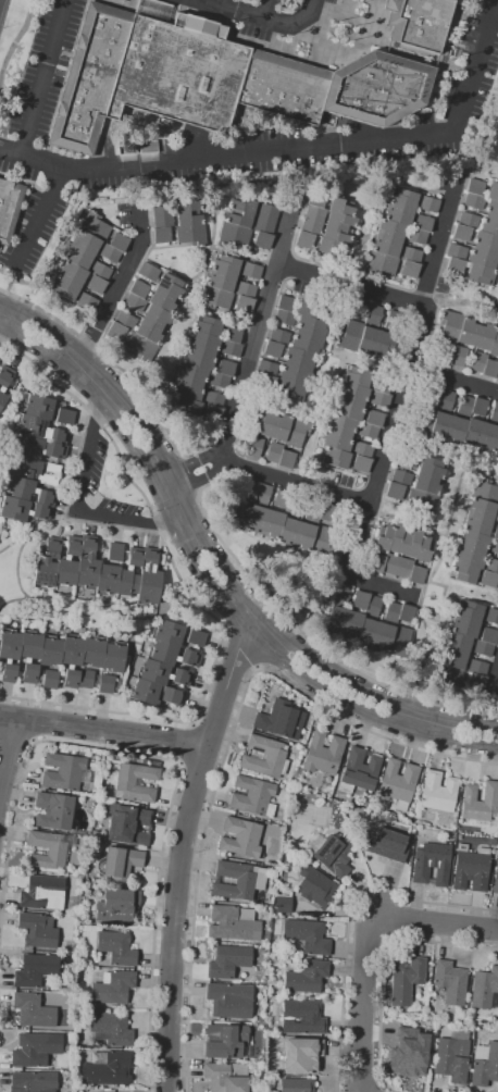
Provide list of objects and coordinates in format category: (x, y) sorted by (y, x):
road: (223, 3)
road: (266, 10)
parking lot: (262, 13)
road: (264, 20)
building: (419, 22)
road: (17, 41)
parking lot: (47, 70)
road: (46, 77)
building: (213, 77)
road: (294, 148)
road: (477, 172)
building: (475, 187)
building: (493, 191)
building: (315, 198)
building: (402, 198)
building: (474, 201)
building: (242, 204)
building: (428, 204)
building: (186, 206)
building: (340, 207)
building: (9, 209)
building: (491, 209)
building: (162, 213)
building: (398, 214)
road: (40, 216)
building: (189, 218)
building: (238, 219)
building: (265, 220)
building: (468, 220)
building: (312, 221)
building: (340, 221)
building: (423, 223)
building: (489, 225)
building: (94, 227)
building: (390, 229)
building: (461, 233)
building: (234, 234)
building: (336, 234)
building: (161, 235)
building: (191, 235)
building: (416, 236)
building: (262, 240)
building: (304, 240)
building: (486, 241)
building: (87, 243)
building: (119, 243)
building: (328, 246)
building: (386, 246)
building: (456, 251)
building: (110, 253)
building: (410, 255)
building: (78, 258)
building: (483, 258)
building: (381, 263)
building: (225, 264)
building: (455, 265)
building: (410, 270)
building: (100, 271)
building: (251, 271)
building: (148, 272)
building: (73, 273)
building: (480, 274)
building: (221, 281)
road: (9, 284)
building: (96, 284)
road: (348, 285)
building: (171, 286)
building: (64, 288)
road: (116, 288)
building: (139, 289)
building: (246, 289)
building: (215, 298)
building: (162, 300)
building: (86, 302)
building: (135, 302)
road: (459, 302)
building: (244, 303)
building: (286, 303)
building: (361, 308)
building: (311, 310)
building: (373, 315)
building: (157, 317)
building: (125, 321)
building: (393, 321)
building: (301, 323)
building: (207, 325)
building: (450, 325)
building: (149, 331)
building: (115, 332)
road: (257, 332)
building: (468, 332)
building: (233, 334)
building: (278, 336)
building: (349, 336)
building: (483, 336)
building: (368, 340)
building: (203, 343)
building: (307, 343)
building: (383, 345)
building: (494, 345)
building: (141, 347)
building: (231, 348)
building: (289, 355)
building: (445, 355)
building: (459, 356)
building: (199, 359)
building: (477, 361)
building: (225, 368)
building: (266, 369)
building: (489, 369)
road: (117, 374)
building: (191, 374)
building: (295, 374)
building: (356, 376)
building: (219, 380)
road: (455, 381)
building: (4, 382)
building: (265, 382)
building: (381, 386)
building: (187, 390)
building: (290, 392)
building: (352, 393)
building: (434, 394)
building: (213, 399)
building: (379, 399)
building: (446, 399)
building: (465, 406)
building: (38, 407)
building: (478, 407)
building: (188, 408)
building: (348, 409)
road: (397, 411)
building: (495, 412)
building: (212, 413)
building: (64, 415)
building: (374, 418)
building: (421, 420)
building: (263, 422)
building: (340, 424)
building: (440, 426)
building: (279, 427)
building: (39, 430)
building: (368, 431)
building: (457, 431)
building: (296, 432)
building: (473, 432)
building: (489, 437)
building: (336, 440)
building: (254, 446)
building: (38, 449)
building: (496, 449)
building: (361, 450)
building: (273, 452)
building: (335, 458)
building: (286, 459)
building: (407, 459)
building: (361, 464)
building: (432, 468)
building: (34, 471)
road: (261, 473)
road: (190, 475)
building: (401, 477)
building: (427, 484)
building: (30, 491)
building: (395, 491)
building: (485, 491)
building: (248, 493)
building: (262, 494)
building: (281, 499)
building: (422, 501)
road: (77, 504)
building: (292, 508)
building: (482, 509)
building: (22, 510)
building: (312, 512)
building: (327, 512)
building: (497, 517)
building: (239, 518)
building: (257, 520)
road: (408, 521)
building: (272, 524)
building: (477, 524)
building: (1, 526)
building: (288, 532)
building: (496, 533)
building: (304, 536)
building: (383, 537)
building: (398, 538)
building: (474, 542)
building: (321, 543)
building: (411, 543)
building: (495, 546)
building: (423, 549)
road: (215, 556)
building: (469, 557)
building: (67, 562)
building: (47, 563)
building: (88, 563)
building: (376, 563)
building: (397, 566)
building: (491, 566)
building: (109, 569)
building: (129, 573)
building: (464, 573)
building: (416, 574)
road: (429, 576)
building: (148, 579)
building: (488, 579)
road: (208, 585)
road: (301, 594)
building: (341, 594)
building: (360, 600)
road: (197, 604)
building: (373, 607)
road: (247, 609)
building: (469, 611)
building: (391, 612)
building: (406, 613)
building: (491, 616)
building: (335, 620)
building: (351, 624)
building: (464, 628)
building: (167, 632)
building: (366, 632)
building: (383, 636)
building: (489, 636)
building: (196, 638)
building: (399, 641)
road: (311, 642)
building: (458, 642)
building: (482, 648)
building: (50, 652)
building: (92, 652)
building: (9, 654)
building: (29, 655)
building: (172, 655)
building: (113, 657)
building: (452, 659)
building: (71, 660)
road: (260, 663)
building: (477, 668)
building: (162, 674)
building: (446, 677)
building: (49, 679)
building: (88, 679)
building: (476, 682)
road: (495, 682)
building: (108, 684)
building: (145, 692)
building: (172, 696)
road: (0, 697)
building: (281, 720)
road: (37, 722)
road: (103, 731)
road: (16, 742)
road: (186, 745)
road: (227, 747)
building: (64, 750)
road: (8, 753)
building: (73, 753)
building: (322, 754)
building: (264, 757)
road: (176, 764)
building: (359, 771)
building: (65, 773)
building: (290, 782)
building: (135, 783)
building: (296, 783)
building: (397, 783)
building: (438, 792)
building: (252, 797)
building: (480, 802)
building: (53, 811)
building: (127, 824)
building: (72, 830)
building: (95, 833)
building: (240, 837)
building: (493, 842)
building: (387, 845)
road: (183, 847)
building: (49, 848)
building: (331, 854)
building: (121, 864)
building: (432, 864)
building: (471, 869)
building: (79, 871)
building: (79, 877)
building: (496, 878)
building: (238, 880)
building: (314, 888)
building: (42, 893)
building: (117, 905)
building: (283, 905)
road: (349, 915)
building: (233, 923)
road: (436, 923)
building: (37, 931)
building: (307, 935)
building: (116, 948)
building: (72, 950)
building: (228, 960)
road: (384, 966)
building: (35, 970)
building: (307, 977)
building: (406, 979)
building: (449, 982)
building: (113, 988)
building: (485, 989)
building: (229, 1001)
road: (363, 1001)
building: (85, 1003)
building: (33, 1010)
building: (302, 1017)
building: (260, 1019)
building: (111, 1029)
building: (226, 1041)
building: (35, 1048)
building: (409, 1053)
building: (301, 1055)
building: (452, 1057)
building: (484, 1064)
building: (108, 1068)
building: (226, 1077)
building: (34, 1081)
building: (297, 1085)

